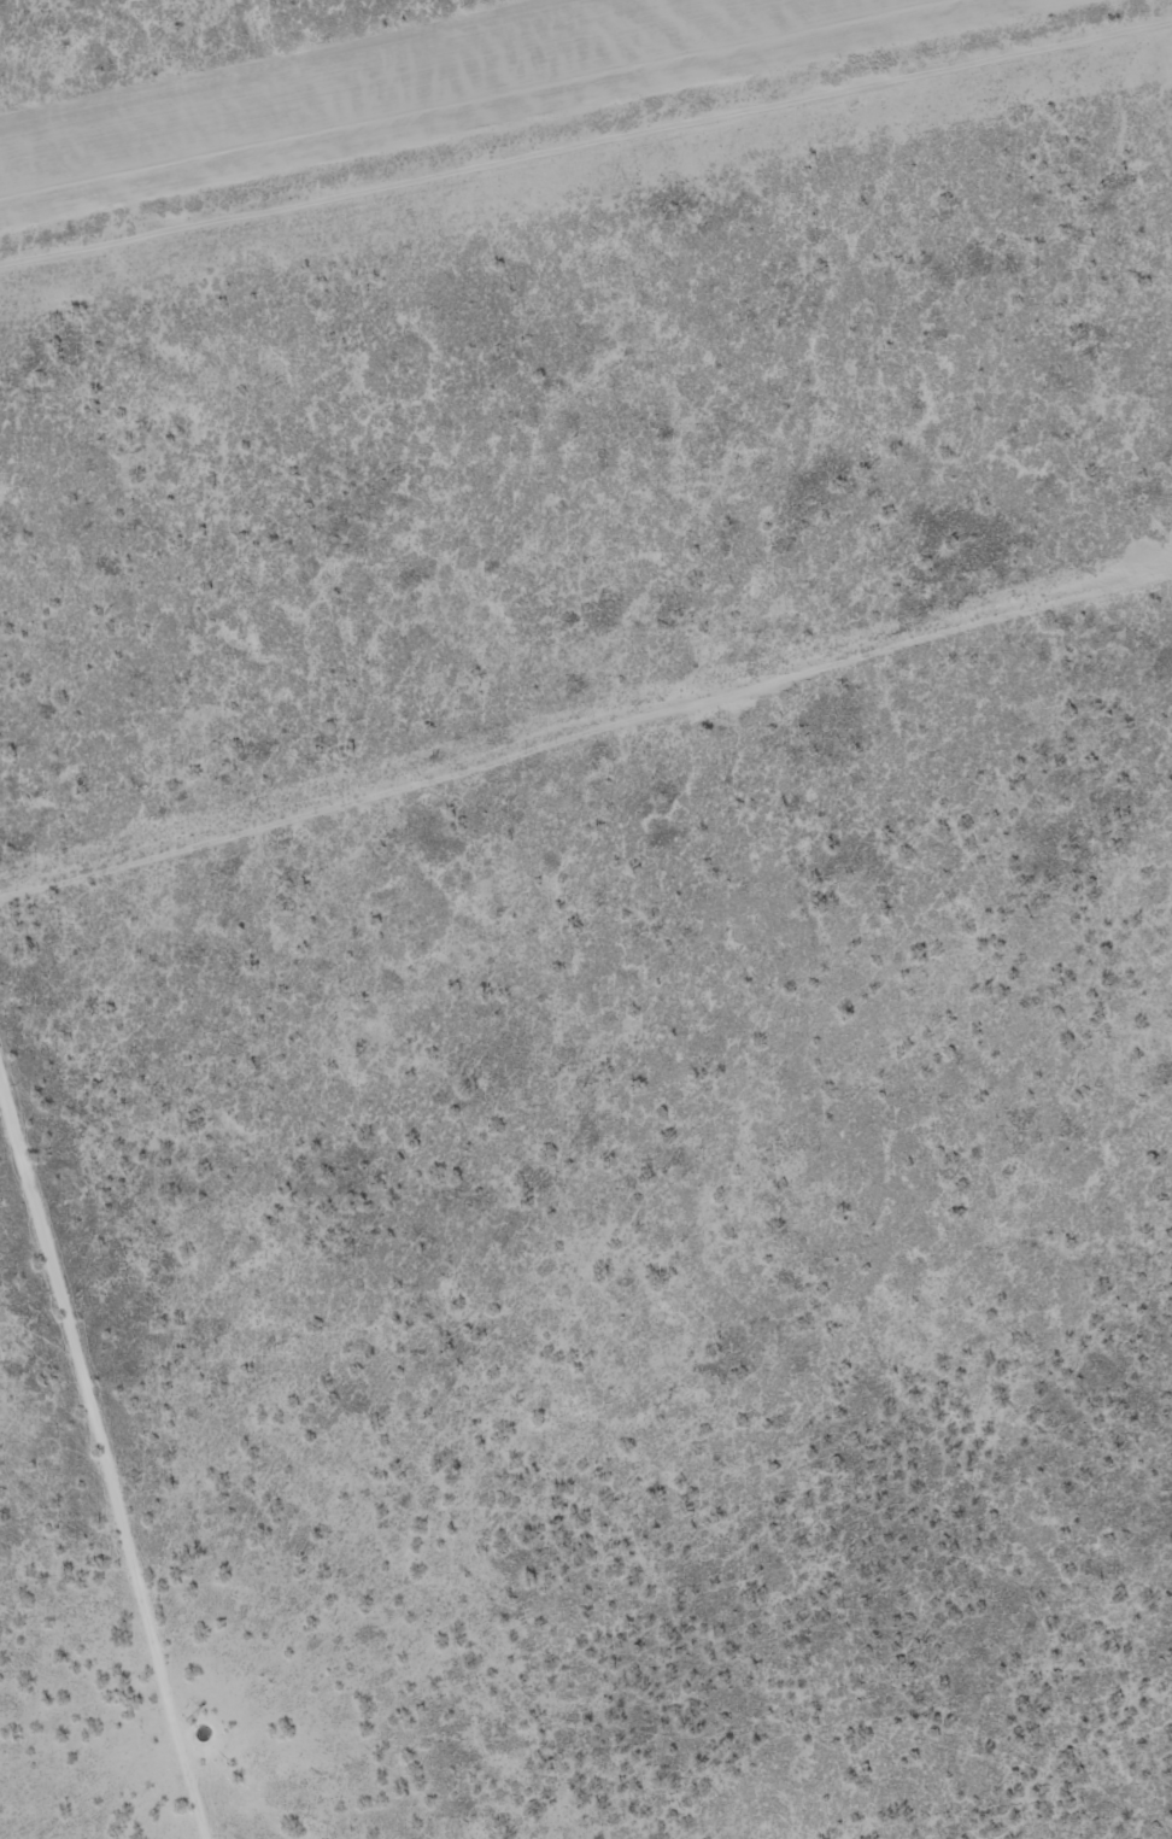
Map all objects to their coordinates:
road: (112, 1422)

